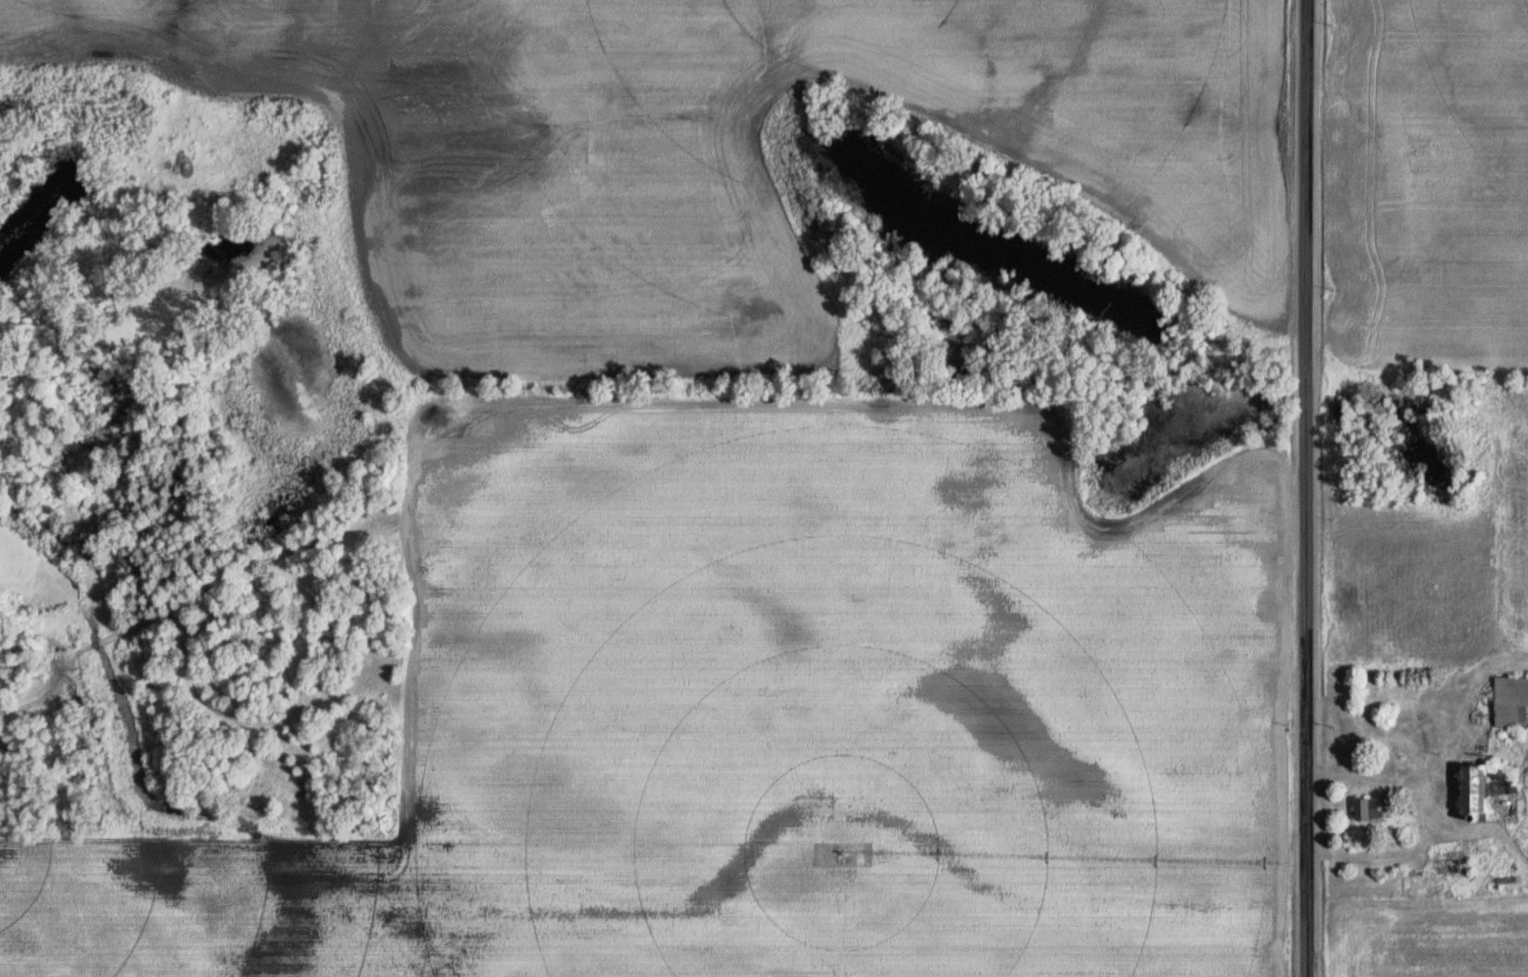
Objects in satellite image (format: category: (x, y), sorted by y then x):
road: (1308, 488)
building: (1510, 702)
building: (1501, 780)
building: (1469, 788)
building: (1363, 809)
road: (1421, 817)

